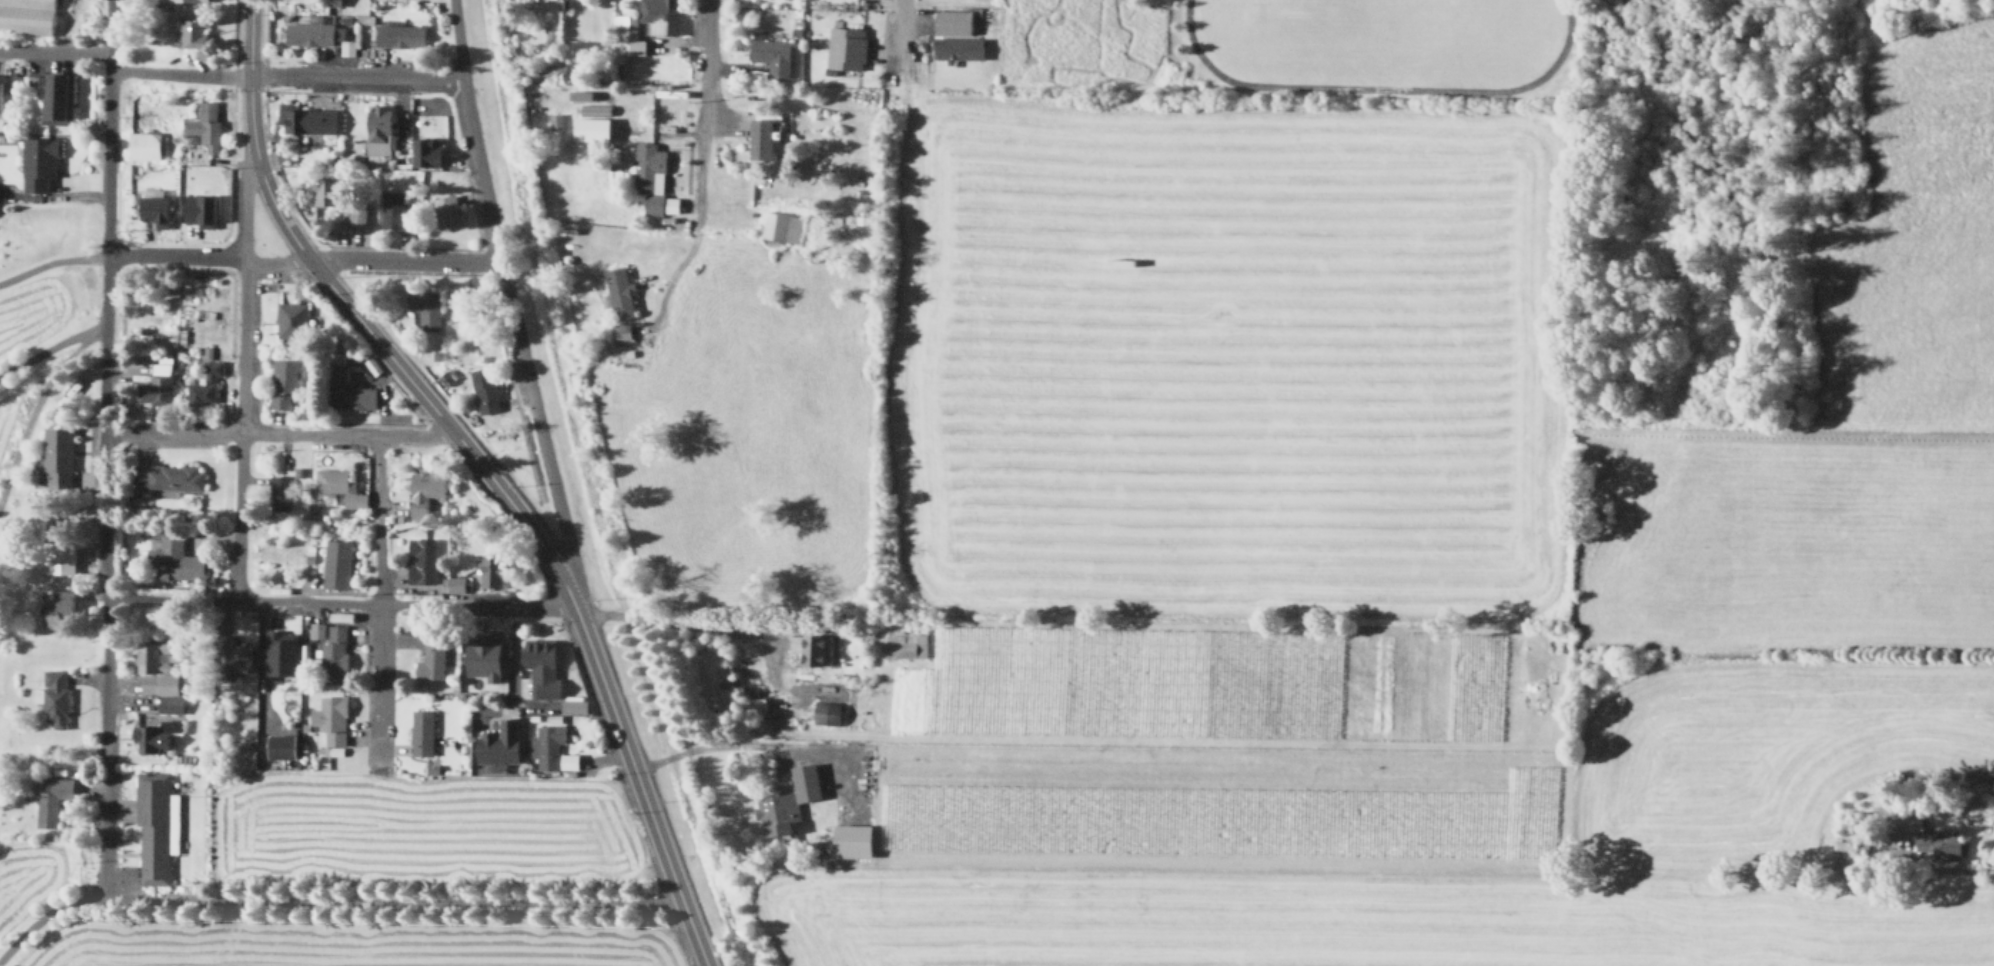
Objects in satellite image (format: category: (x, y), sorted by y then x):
building: (189, 1)
building: (330, 2)
building: (657, 16)
building: (27, 17)
building: (950, 21)
building: (193, 32)
building: (313, 34)
road: (249, 36)
building: (400, 37)
building: (622, 37)
park: (1381, 39)
road: (897, 42)
track: (1379, 42)
building: (844, 47)
building: (956, 47)
road: (54, 49)
building: (769, 54)
road: (179, 73)
road: (355, 73)
building: (0, 94)
building: (57, 100)
road: (706, 109)
building: (554, 119)
building: (306, 120)
building: (205, 125)
building: (587, 127)
building: (378, 130)
building: (757, 136)
road: (253, 146)
building: (145, 147)
building: (423, 150)
building: (39, 164)
building: (650, 178)
building: (326, 191)
building: (196, 207)
building: (151, 208)
building: (397, 212)
building: (446, 212)
building: (357, 218)
building: (780, 224)
road: (245, 249)
road: (303, 259)
road: (52, 262)
road: (673, 271)
building: (615, 291)
road: (508, 299)
building: (466, 308)
building: (425, 309)
building: (292, 321)
building: (619, 331)
road: (51, 349)
building: (338, 374)
building: (446, 374)
building: (286, 384)
building: (157, 385)
building: (205, 385)
road: (241, 388)
building: (485, 391)
building: (354, 398)
road: (37, 401)
road: (171, 433)
road: (346, 435)
road: (102, 445)
building: (60, 459)
building: (167, 480)
building: (340, 486)
building: (425, 491)
building: (279, 493)
road: (237, 516)
building: (181, 556)
road: (548, 557)
building: (56, 558)
building: (422, 561)
crop: (1405, 561)
building: (336, 564)
building: (490, 573)
building: (456, 583)
road: (241, 600)
road: (378, 600)
road: (475, 604)
building: (59, 609)
road: (663, 617)
building: (904, 646)
building: (332, 647)
building: (817, 651)
building: (480, 654)
building: (231, 656)
building: (431, 659)
building: (279, 662)
building: (542, 667)
building: (55, 697)
building: (158, 698)
building: (571, 704)
building: (754, 704)
building: (824, 711)
building: (332, 722)
building: (422, 734)
building: (277, 744)
building: (499, 744)
road: (707, 745)
building: (546, 747)
building: (51, 800)
building: (788, 802)
building: (153, 828)
building: (1926, 836)
building: (848, 839)
road: (1964, 870)
road: (326, 900)
crop: (310, 902)

